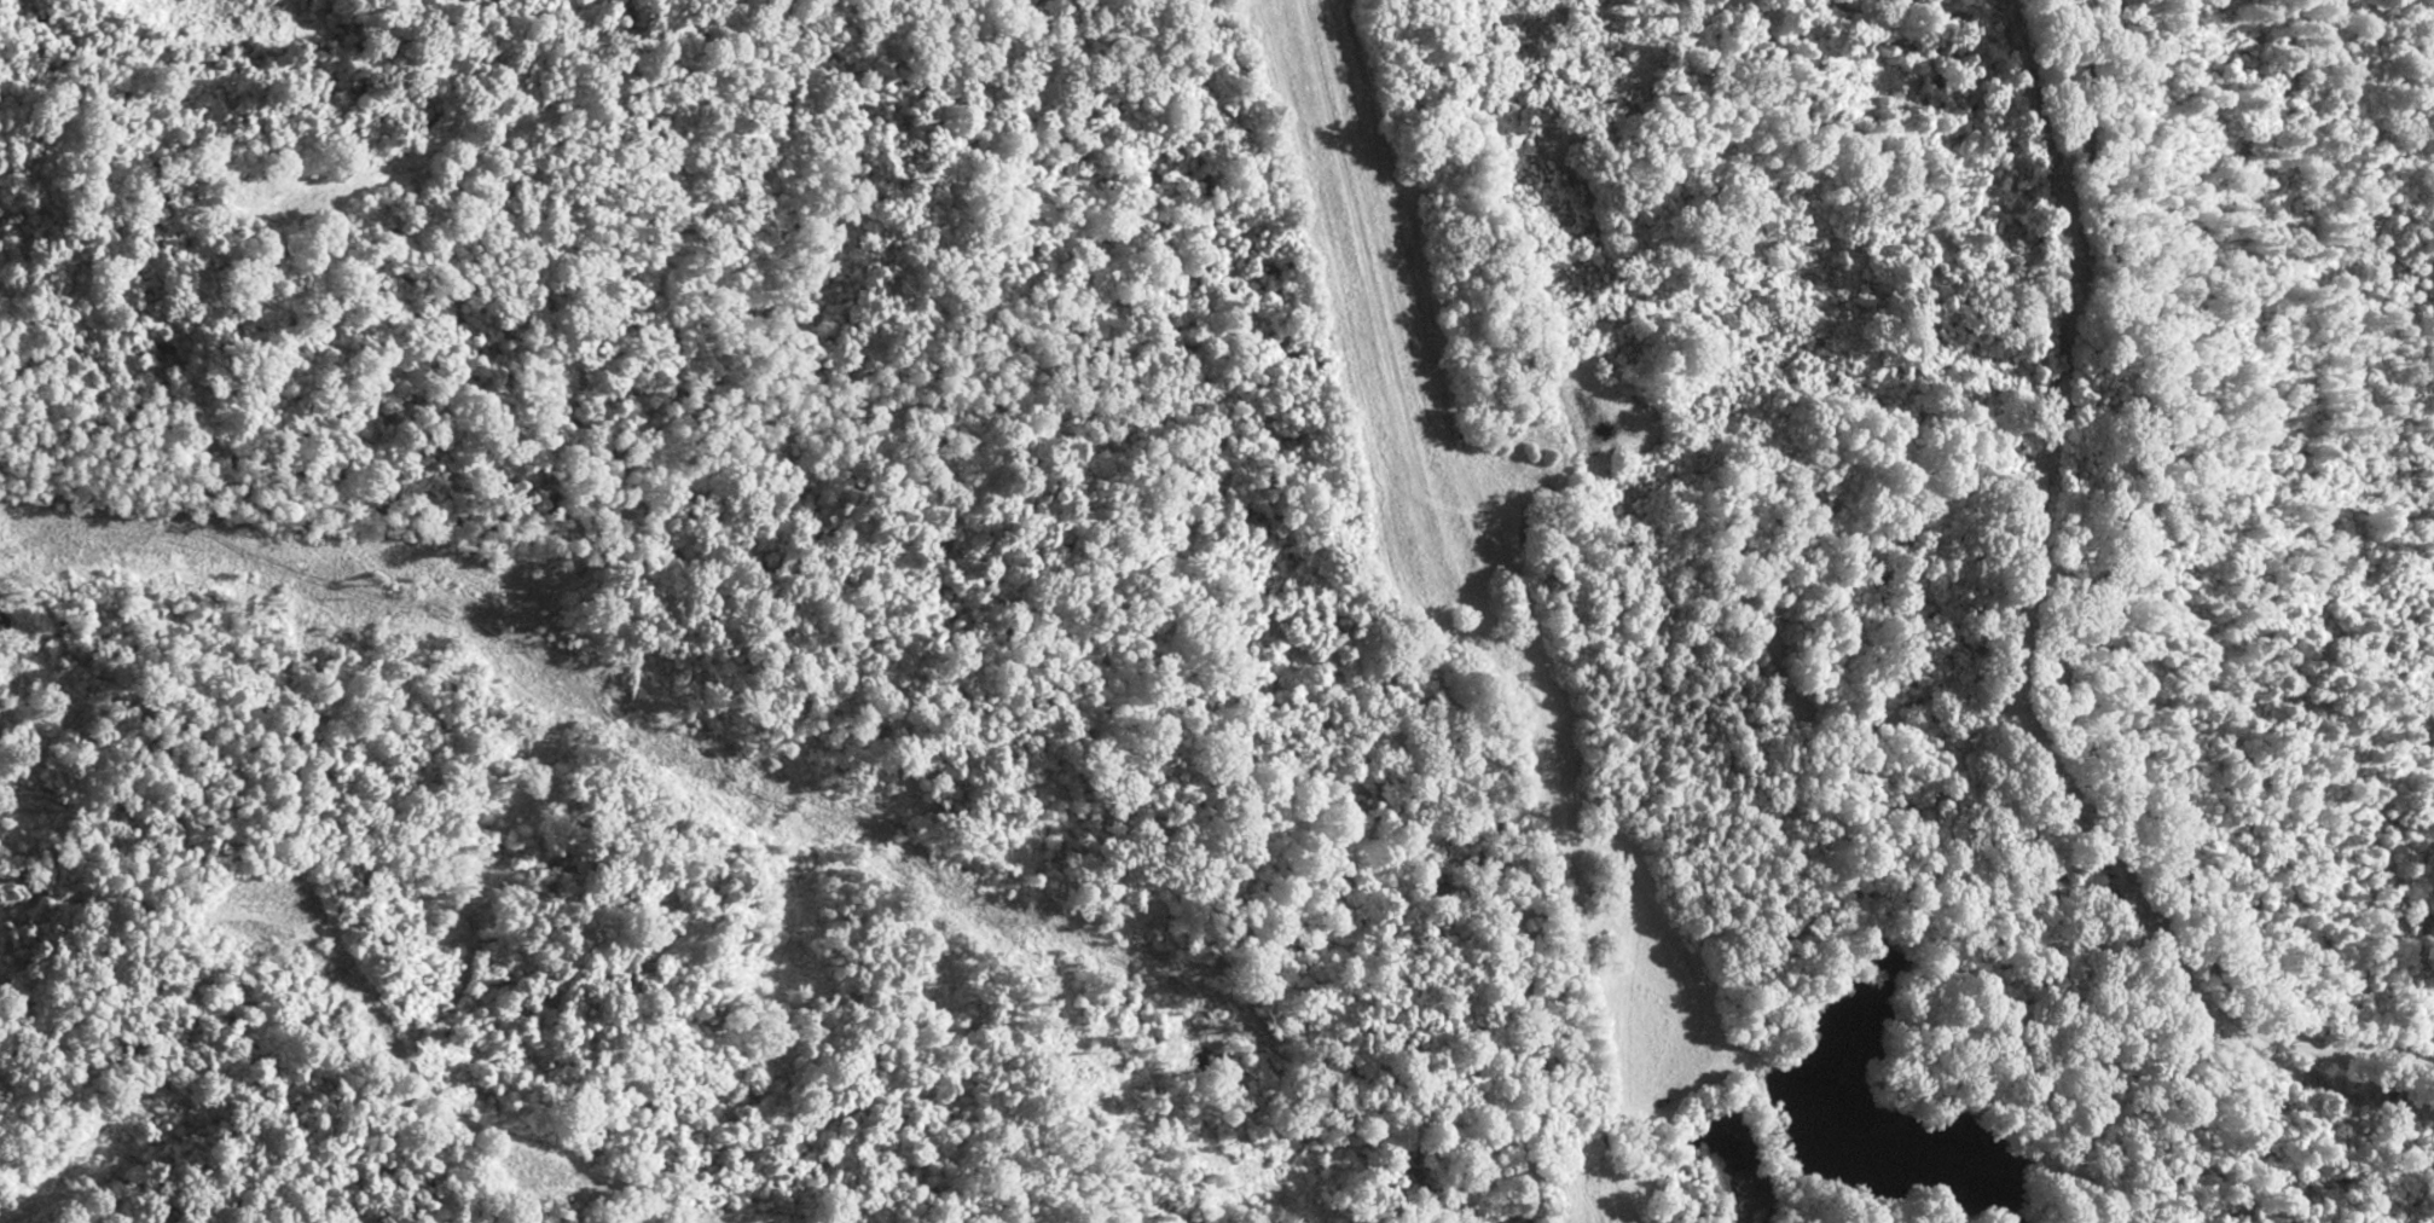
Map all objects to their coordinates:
road: (1236, 6)
road: (1468, 614)
road: (2064, 628)

